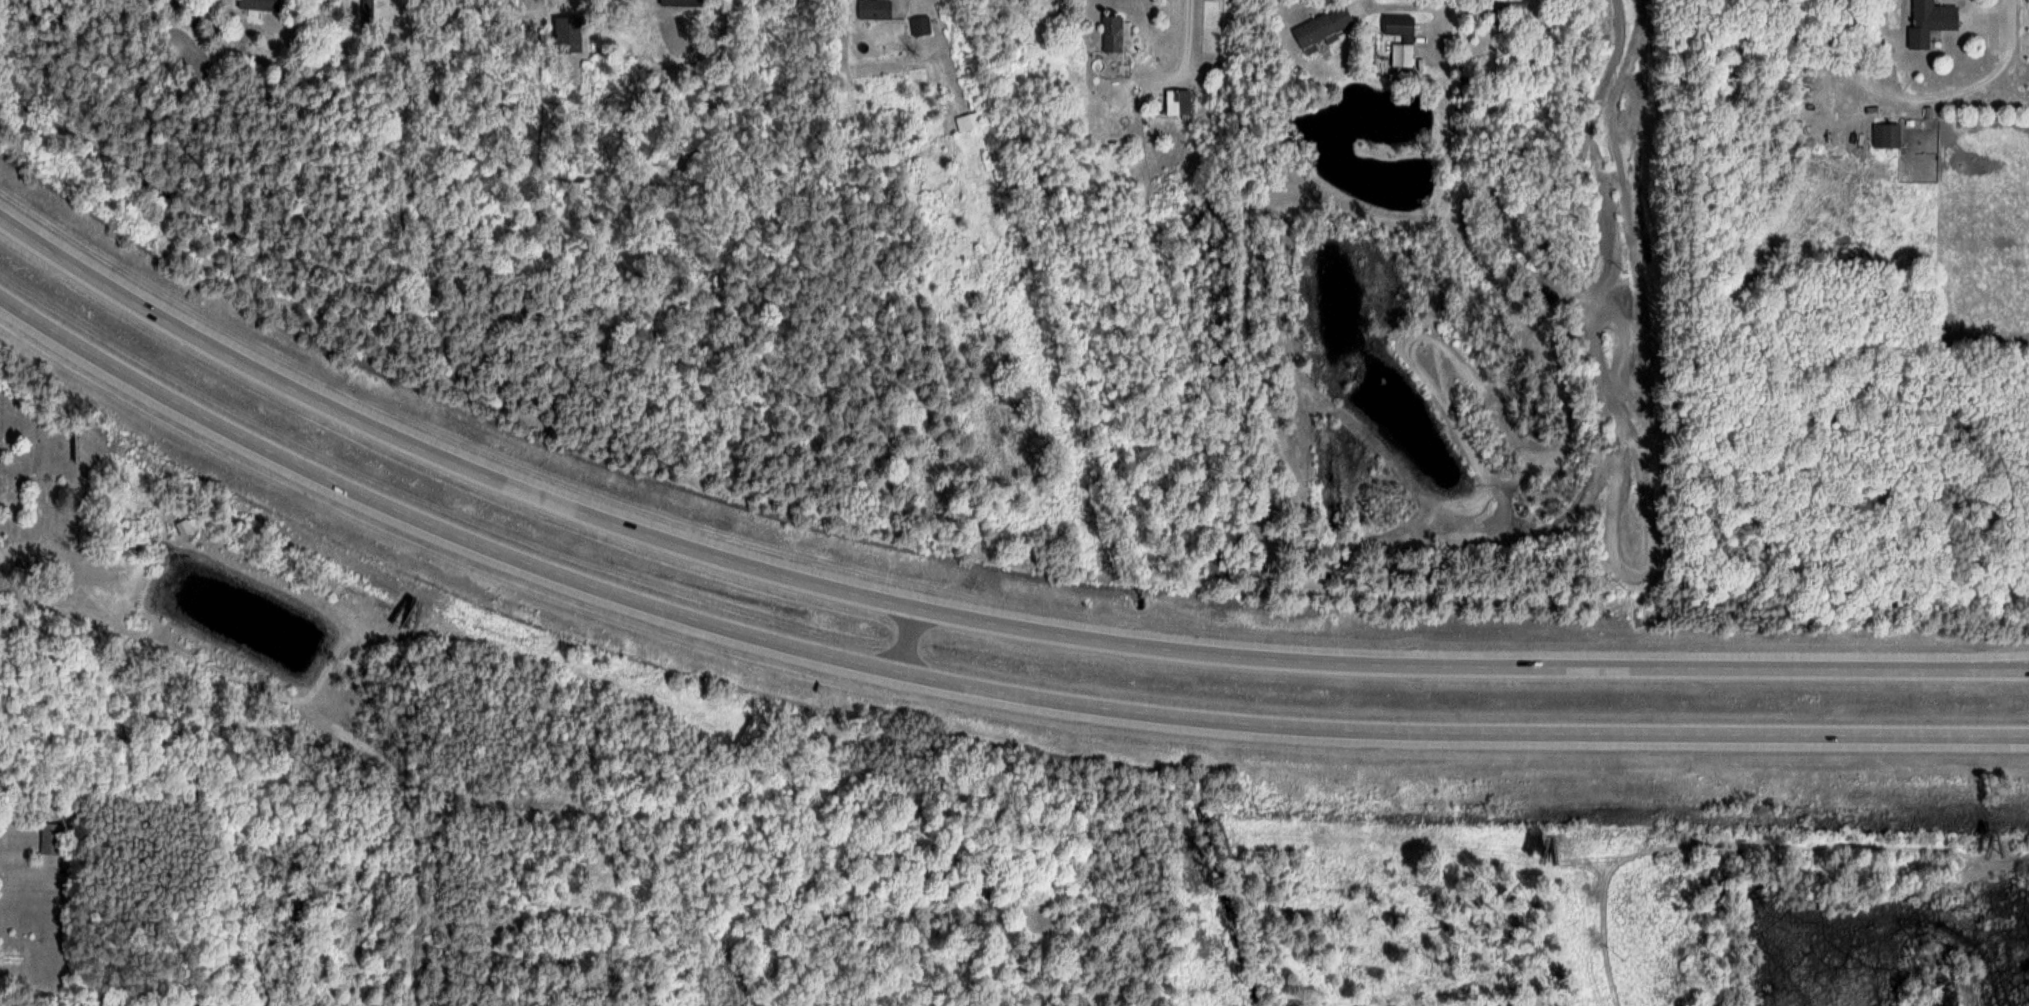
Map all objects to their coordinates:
building: (674, 2)
road: (913, 2)
building: (257, 4)
road: (1401, 6)
building: (1502, 8)
building: (874, 9)
building: (368, 13)
building: (1928, 21)
building: (920, 25)
building: (1320, 28)
building: (564, 34)
building: (1111, 35)
building: (1406, 39)
road: (1182, 55)
road: (1949, 93)
building: (1176, 102)
building: (968, 122)
building: (1886, 135)
road: (972, 619)
road: (975, 687)
building: (51, 839)

